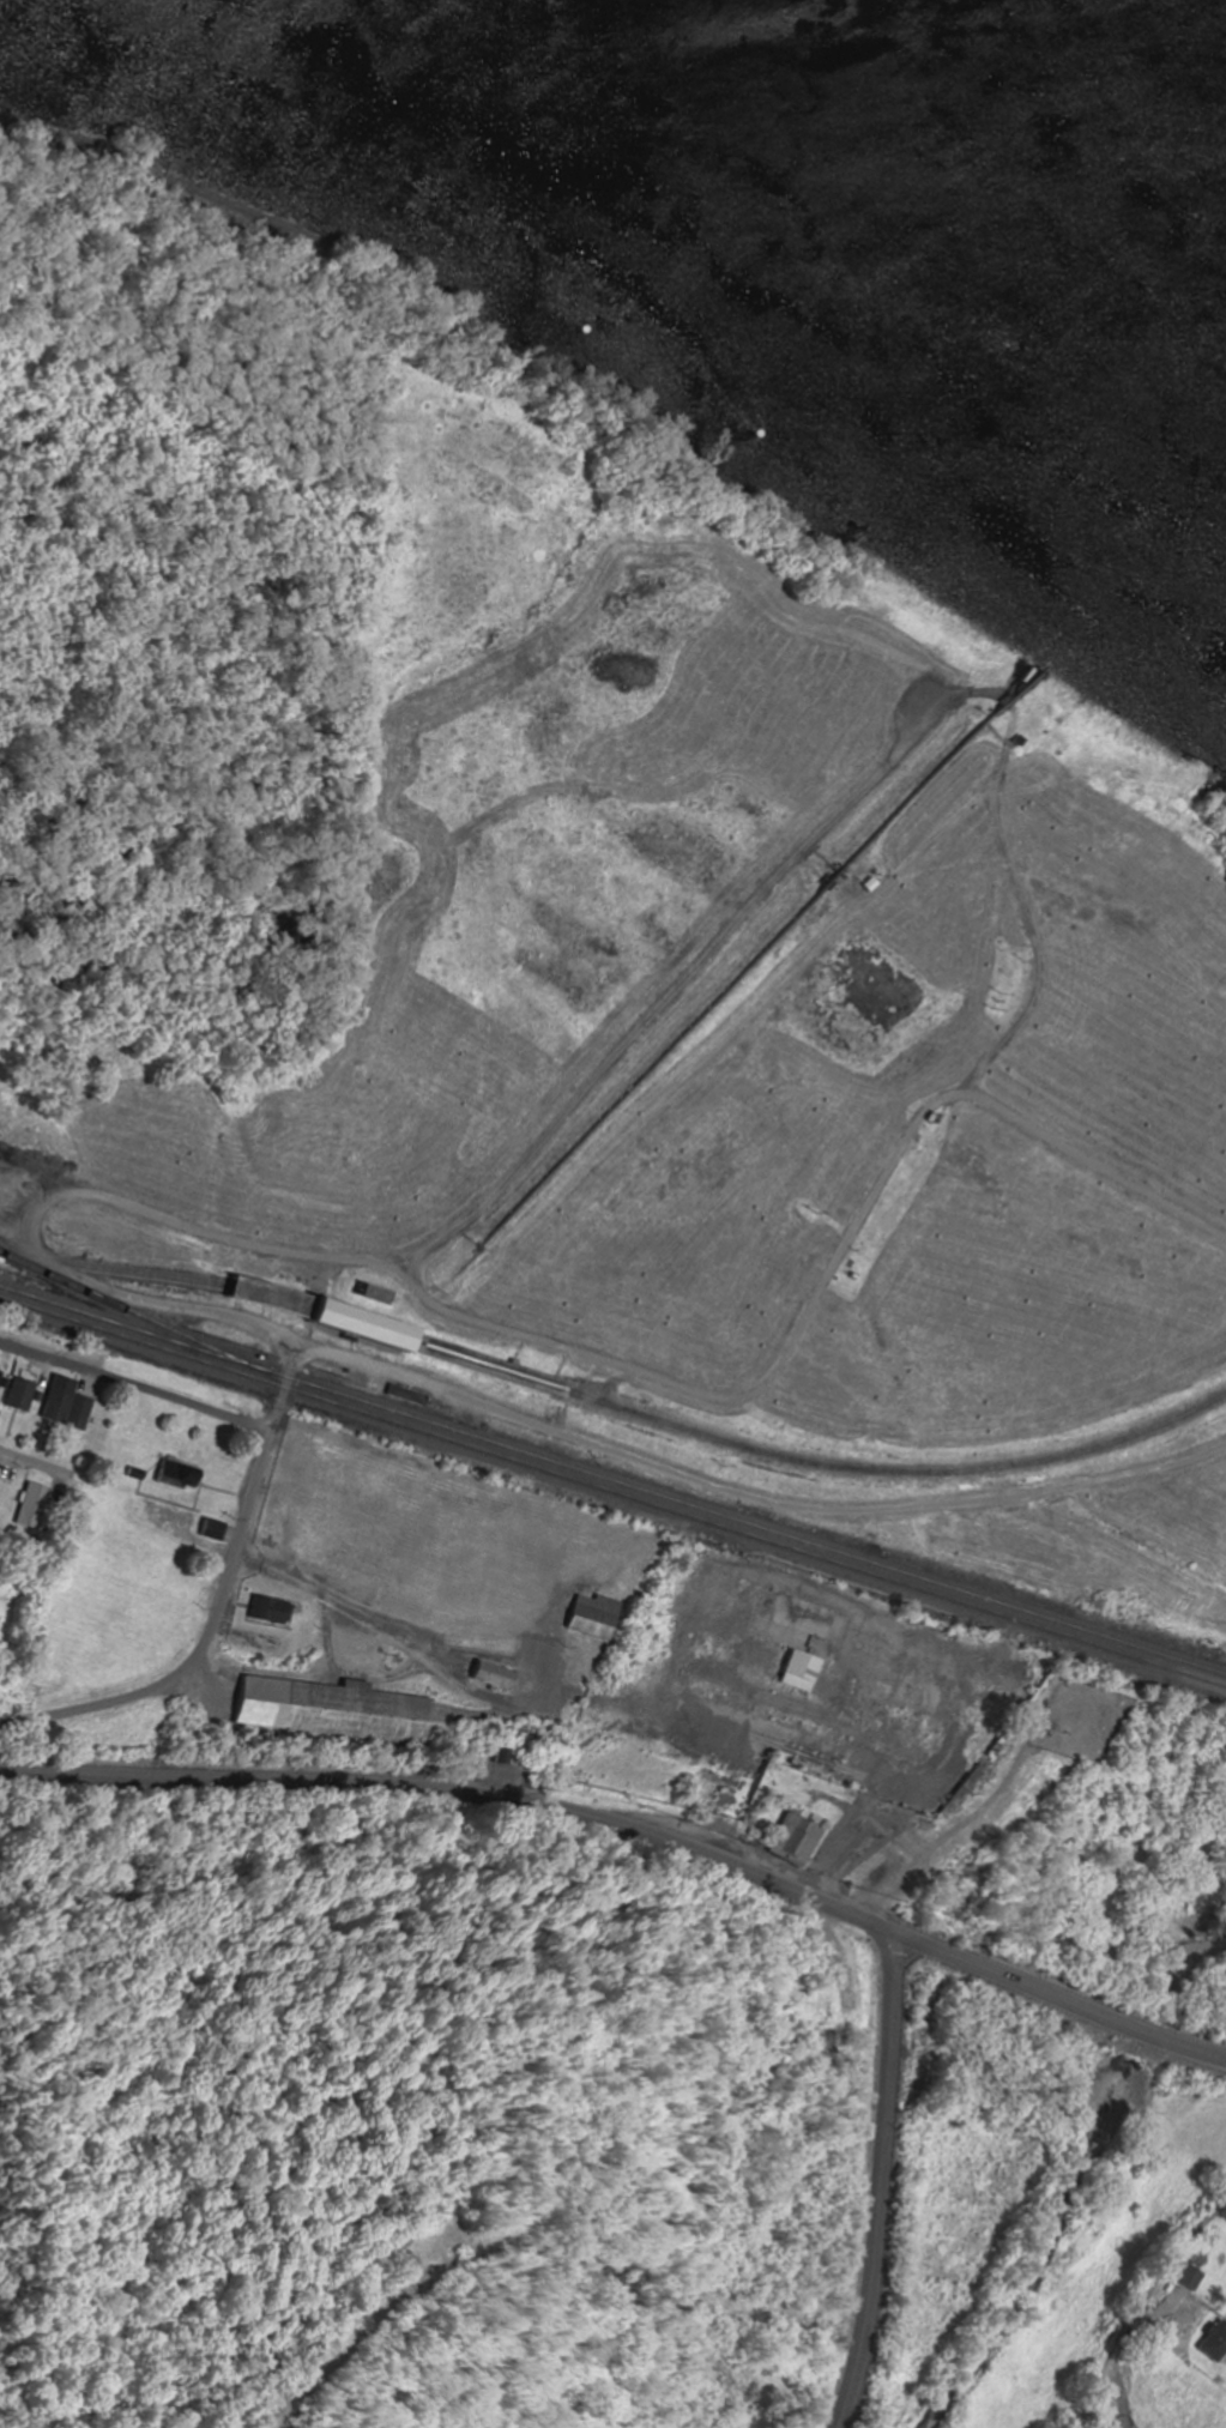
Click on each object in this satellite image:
river: (1039, 114)
railway: (133, 1315)
road: (134, 1390)
railway: (612, 1406)
road: (31, 1464)
railway: (612, 1482)
railway: (612, 1496)
road: (199, 1644)
road: (630, 1765)
road: (630, 1835)
road: (874, 2181)
road: (1140, 2307)

